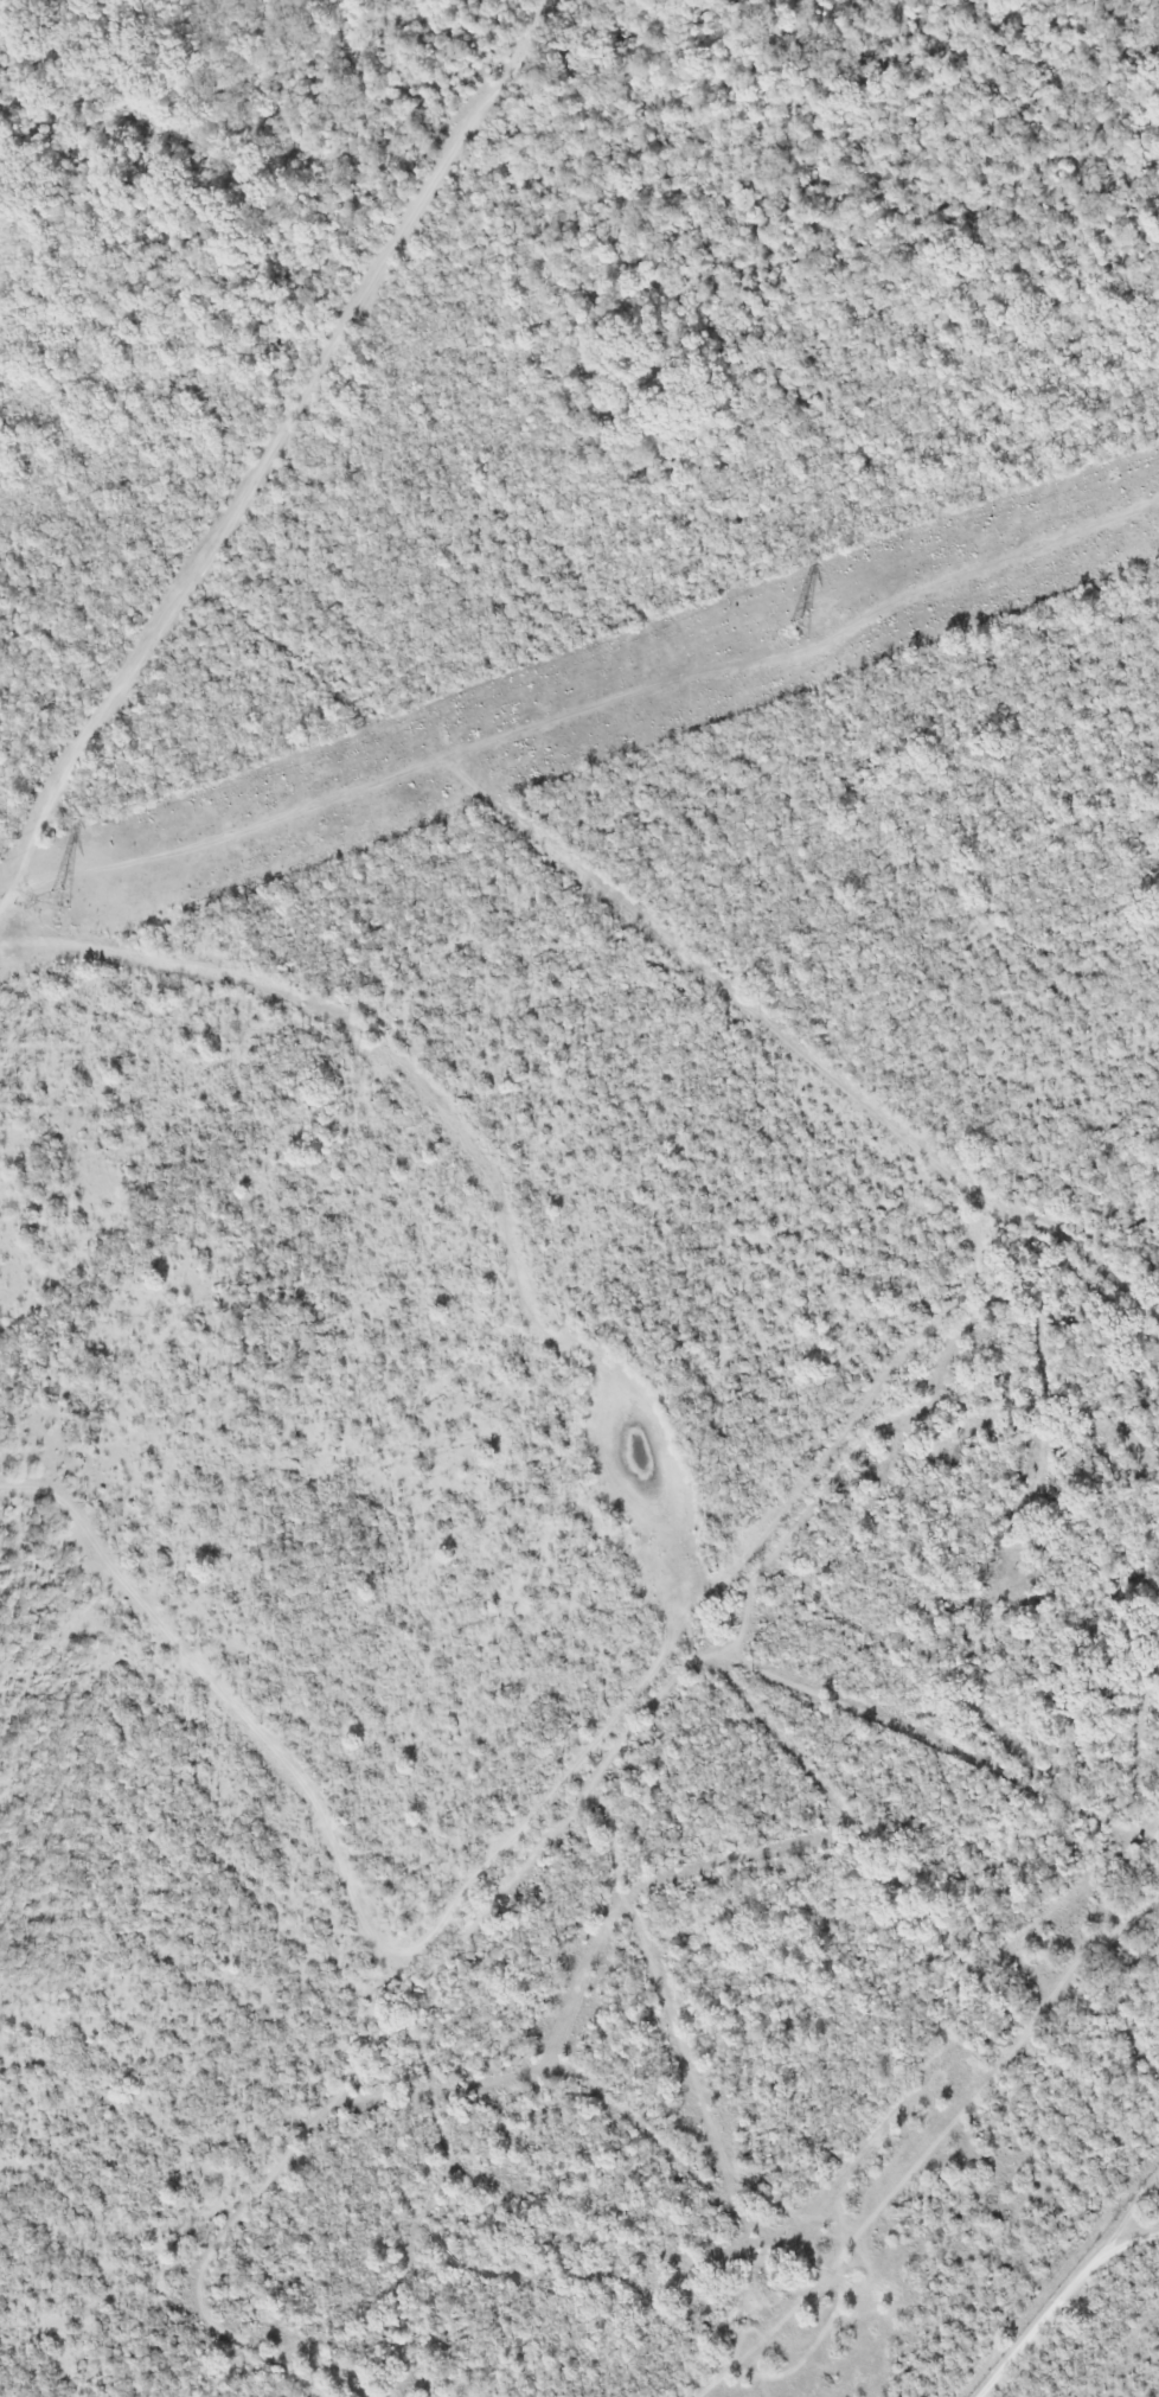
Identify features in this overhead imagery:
power tower: (796, 632)
power tower: (57, 901)

